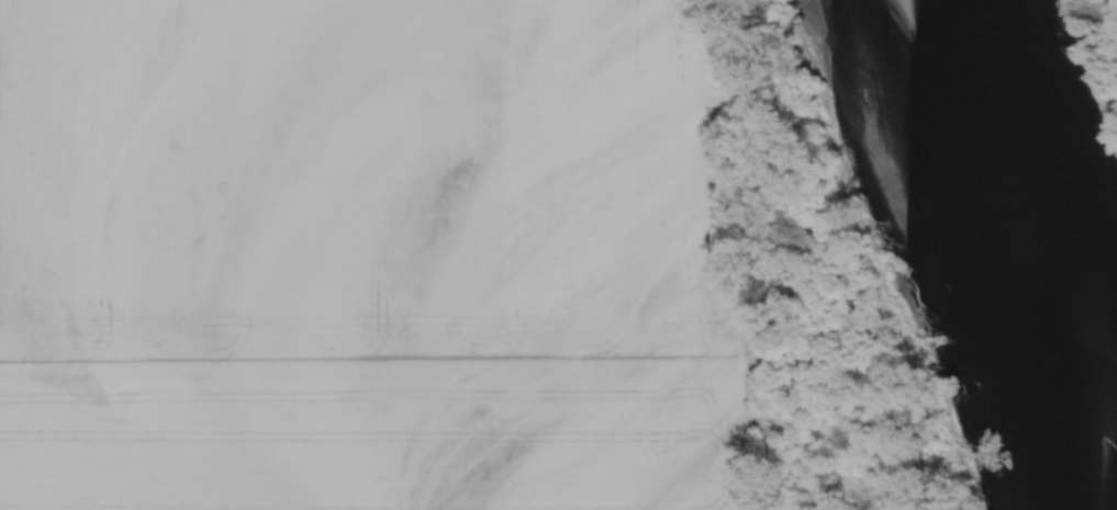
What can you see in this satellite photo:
river: (1015, 254)

